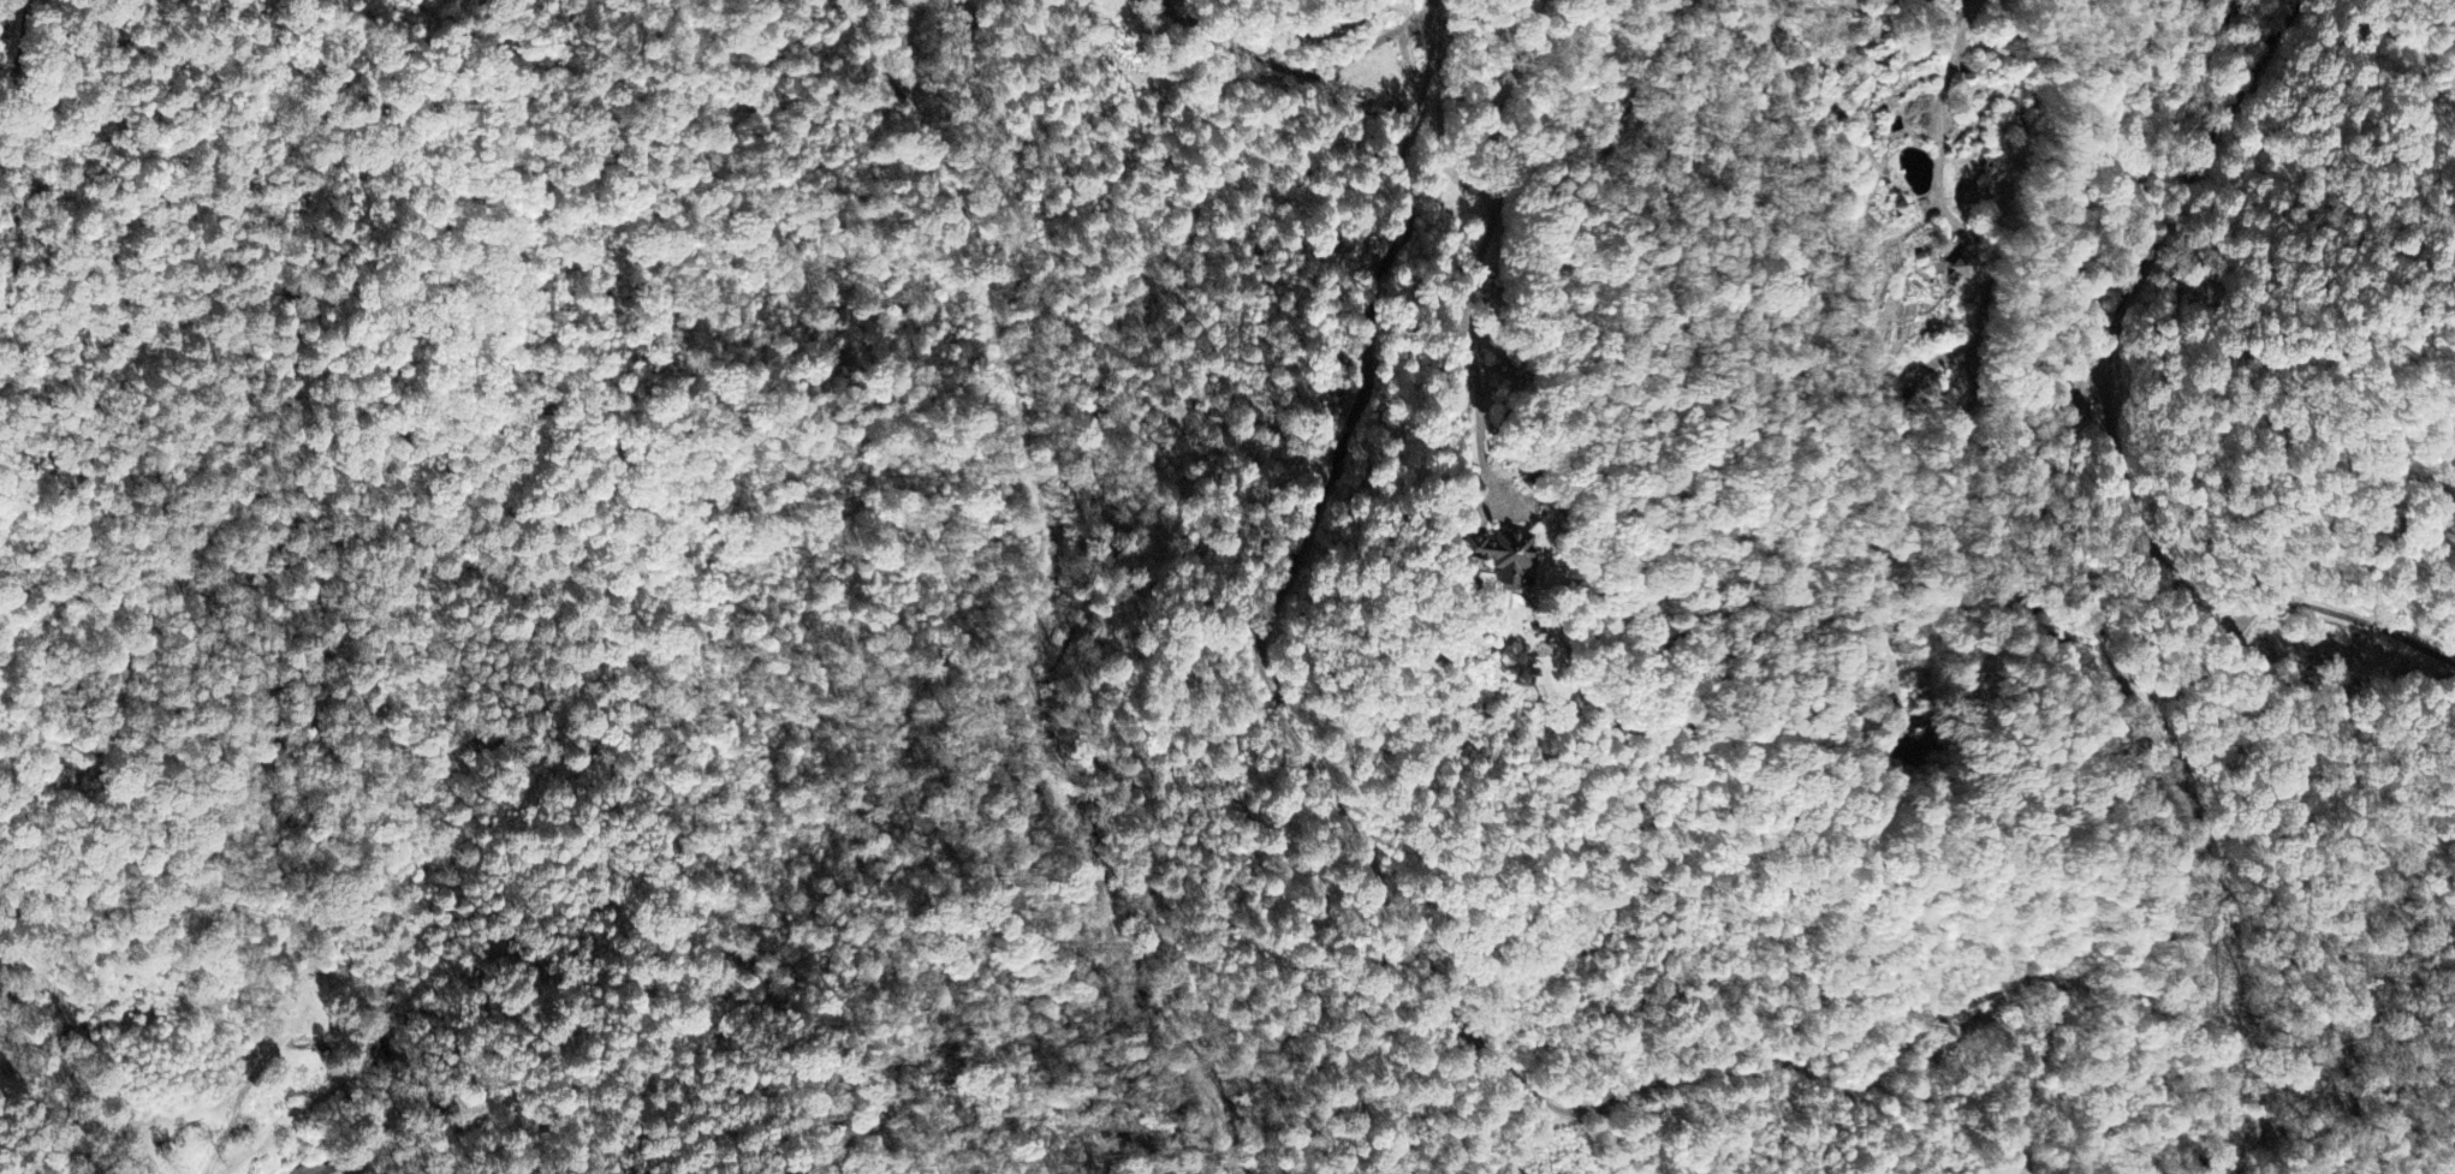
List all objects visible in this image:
road: (1373, 40)
road: (22, 49)
road: (2188, 166)
road: (2071, 519)
road: (2210, 924)
road: (1402, 931)
road: (46, 1107)
building: (320, 1169)

